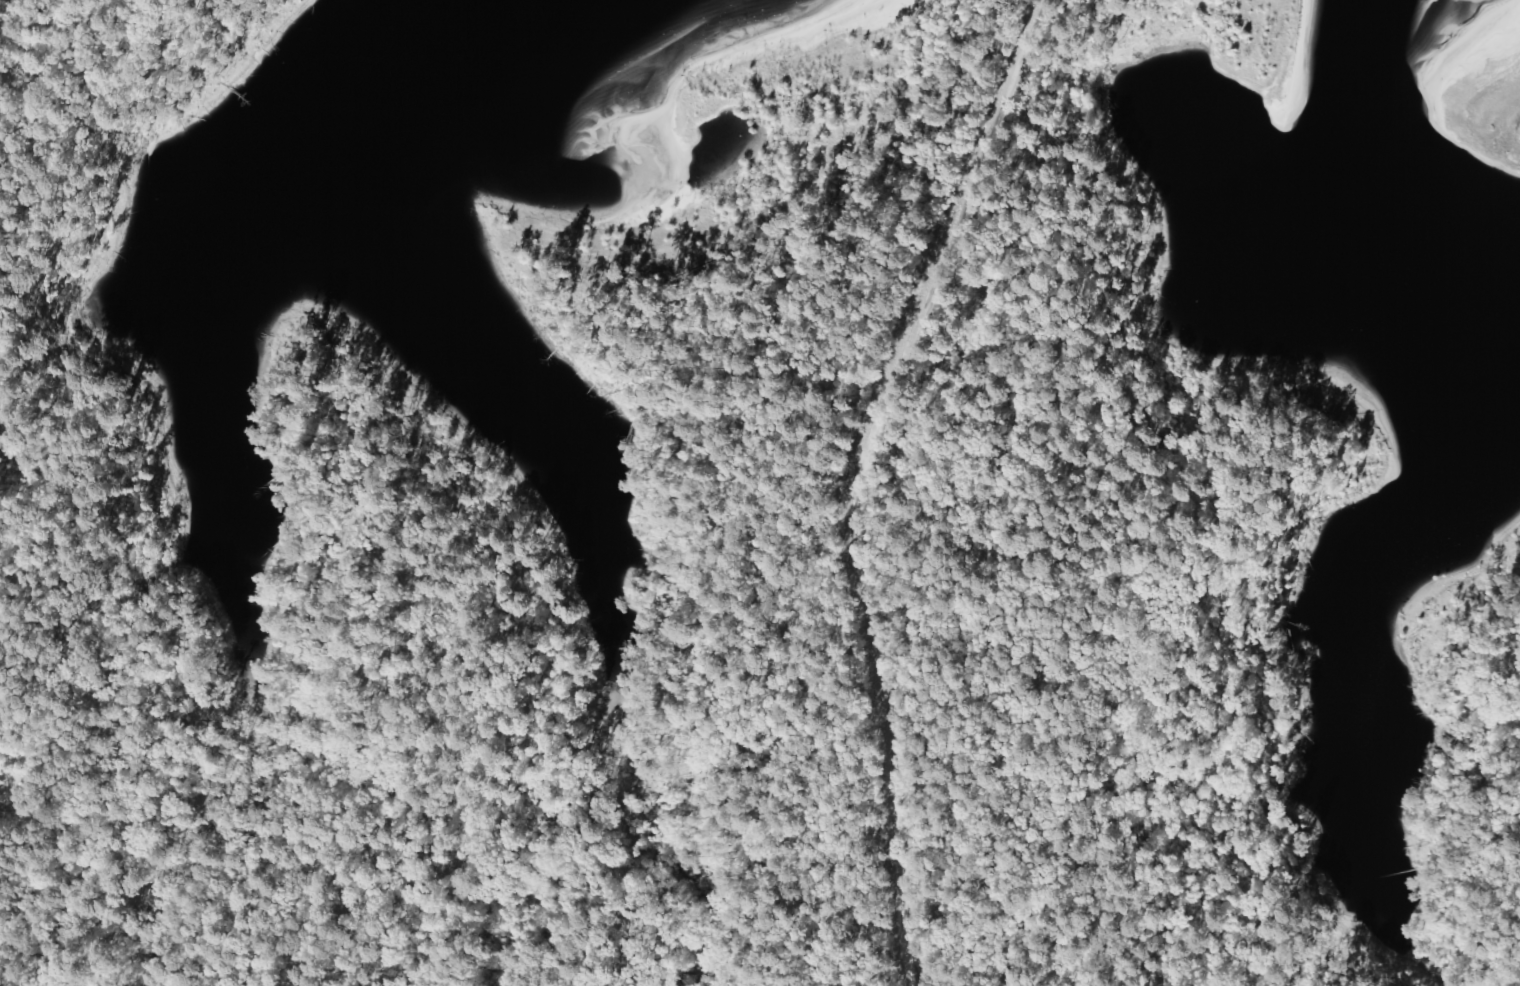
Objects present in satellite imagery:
road: (78, 62)
road: (853, 476)

